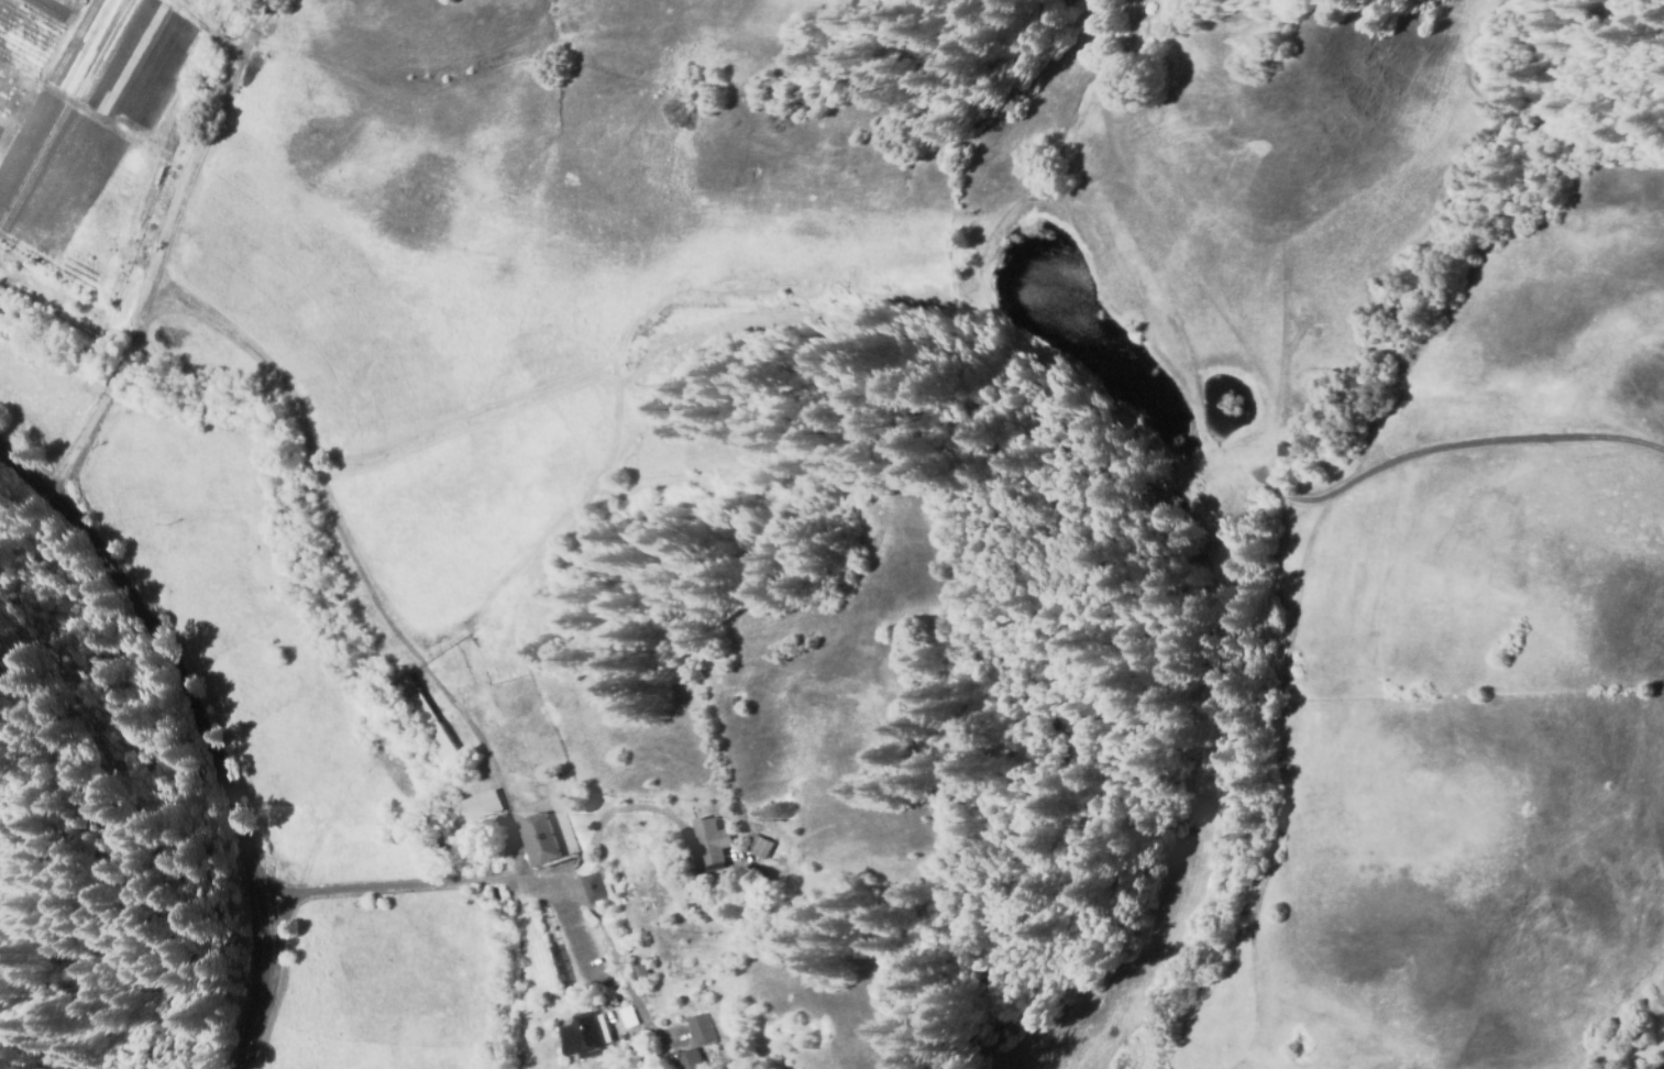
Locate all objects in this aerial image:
road: (154, 246)
building: (426, 726)
road: (194, 734)
building: (478, 809)
building: (542, 834)
building: (710, 847)
building: (757, 850)
road: (478, 880)
building: (594, 891)
building: (641, 976)
building: (626, 1020)
building: (698, 1033)
building: (585, 1037)
building: (685, 1059)
building: (708, 1060)

